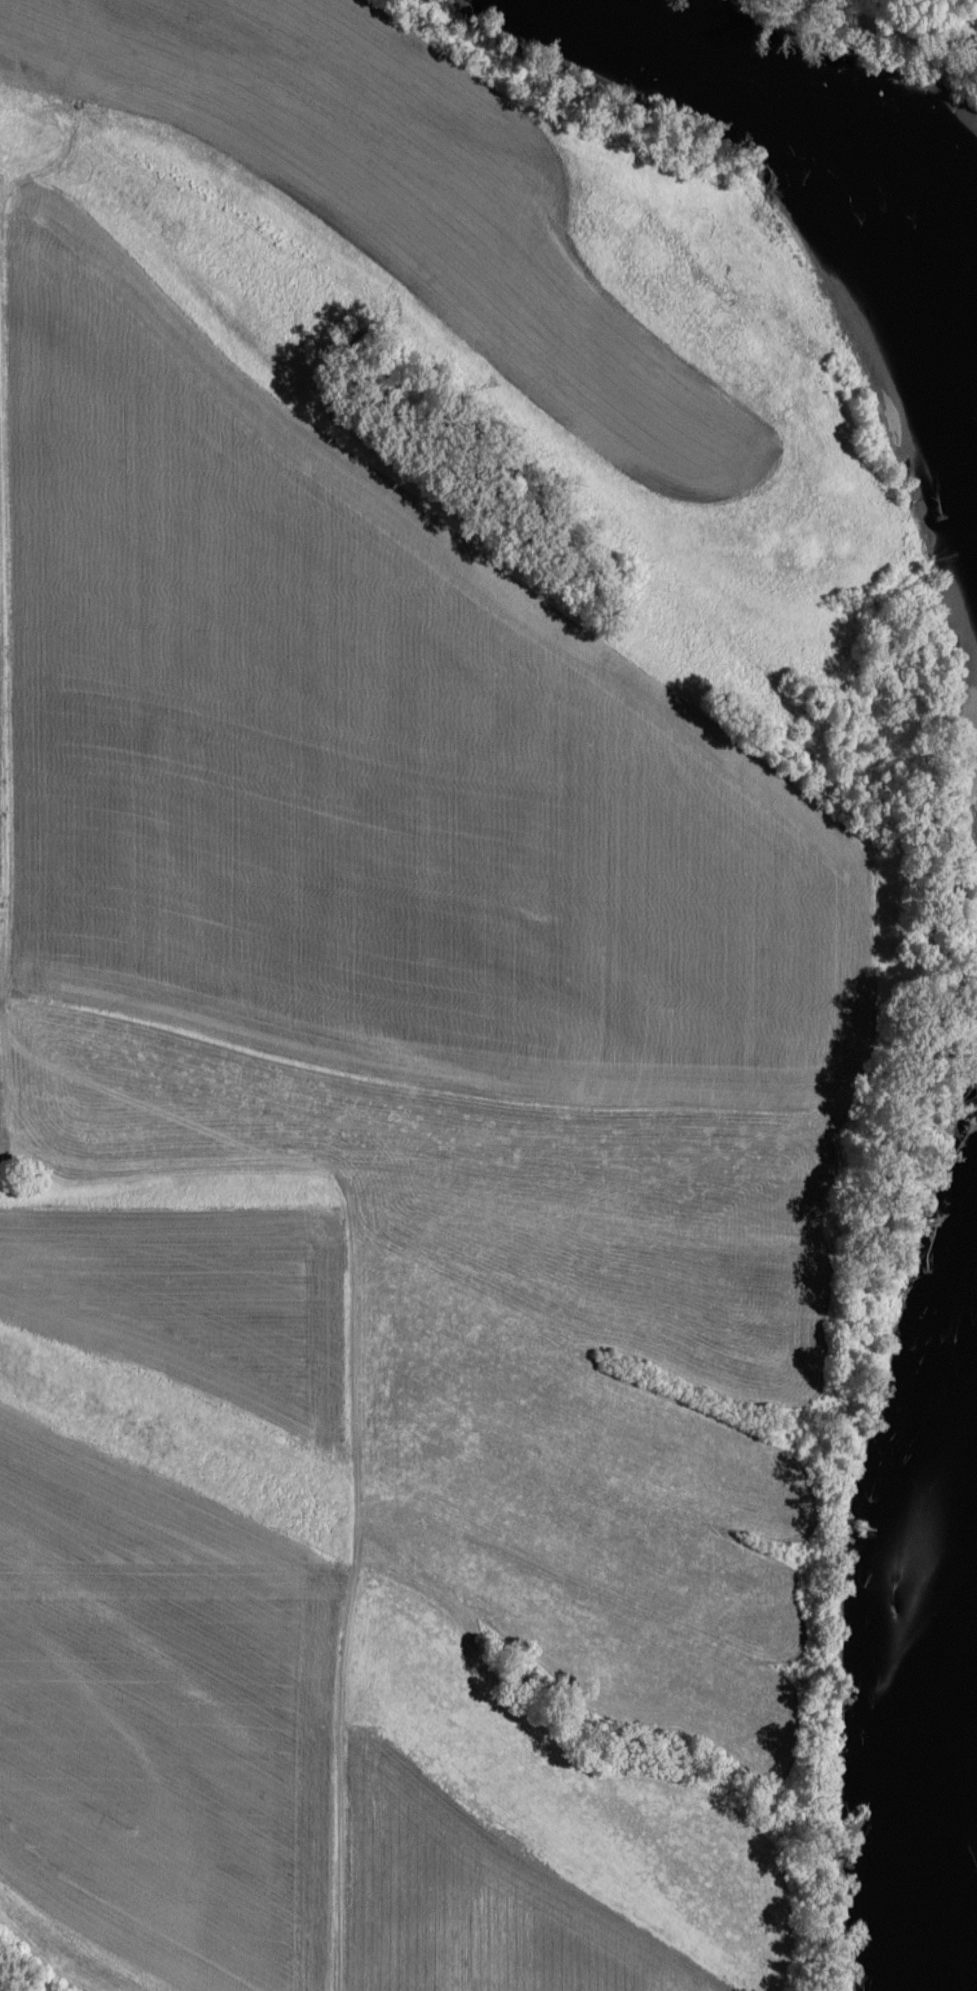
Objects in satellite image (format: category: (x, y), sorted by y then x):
road: (850, 9)
river: (757, 88)
river: (957, 1743)

